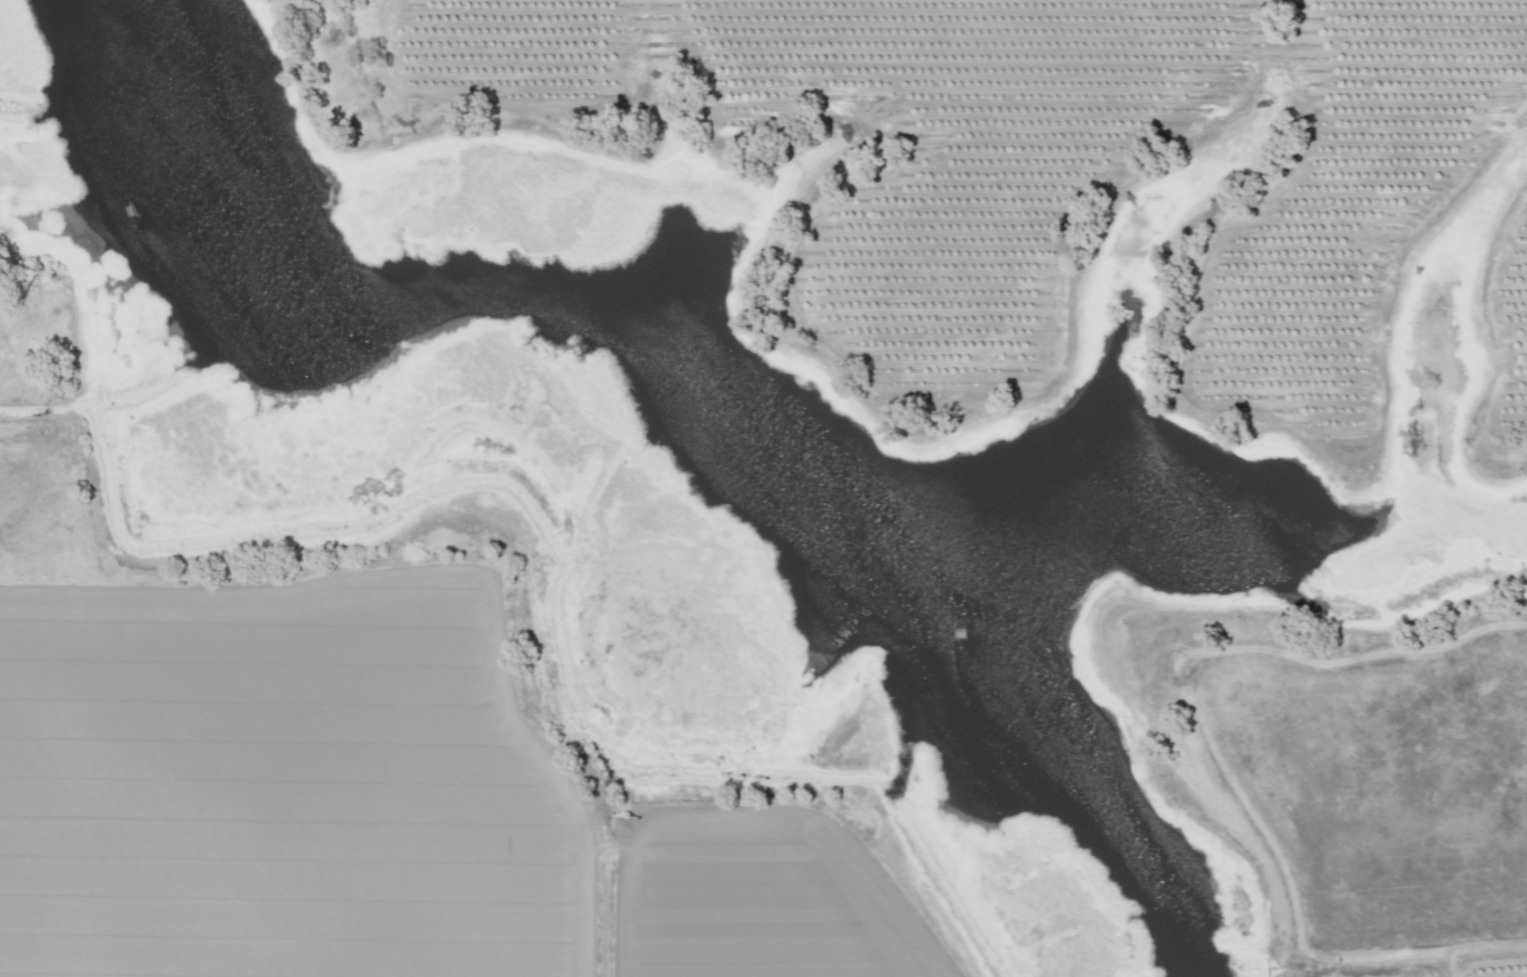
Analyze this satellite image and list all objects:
crop: (387, 791)

